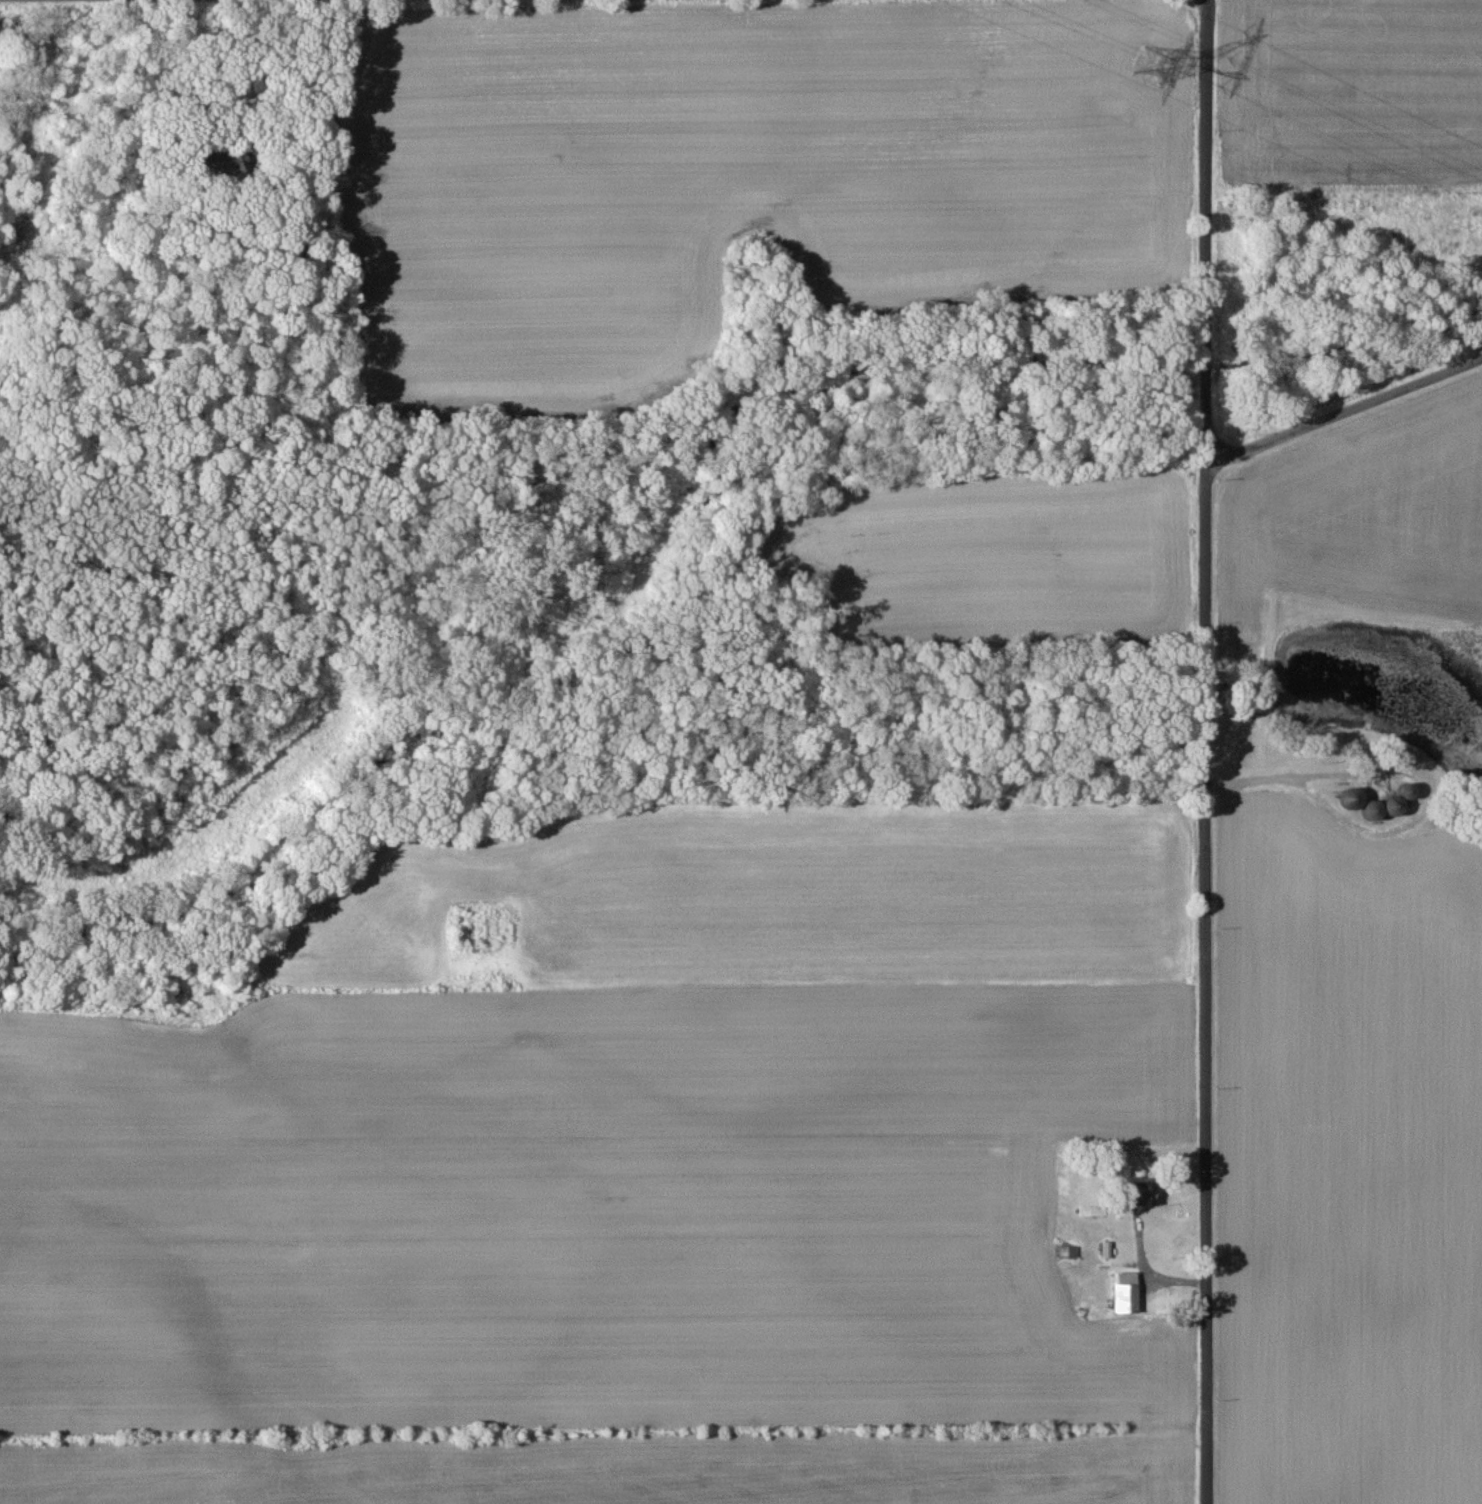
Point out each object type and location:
power tower: (1151, 67)
road: (291, 88)
road: (1345, 404)
road: (1206, 751)
building: (1147, 1192)
building: (1127, 1291)

